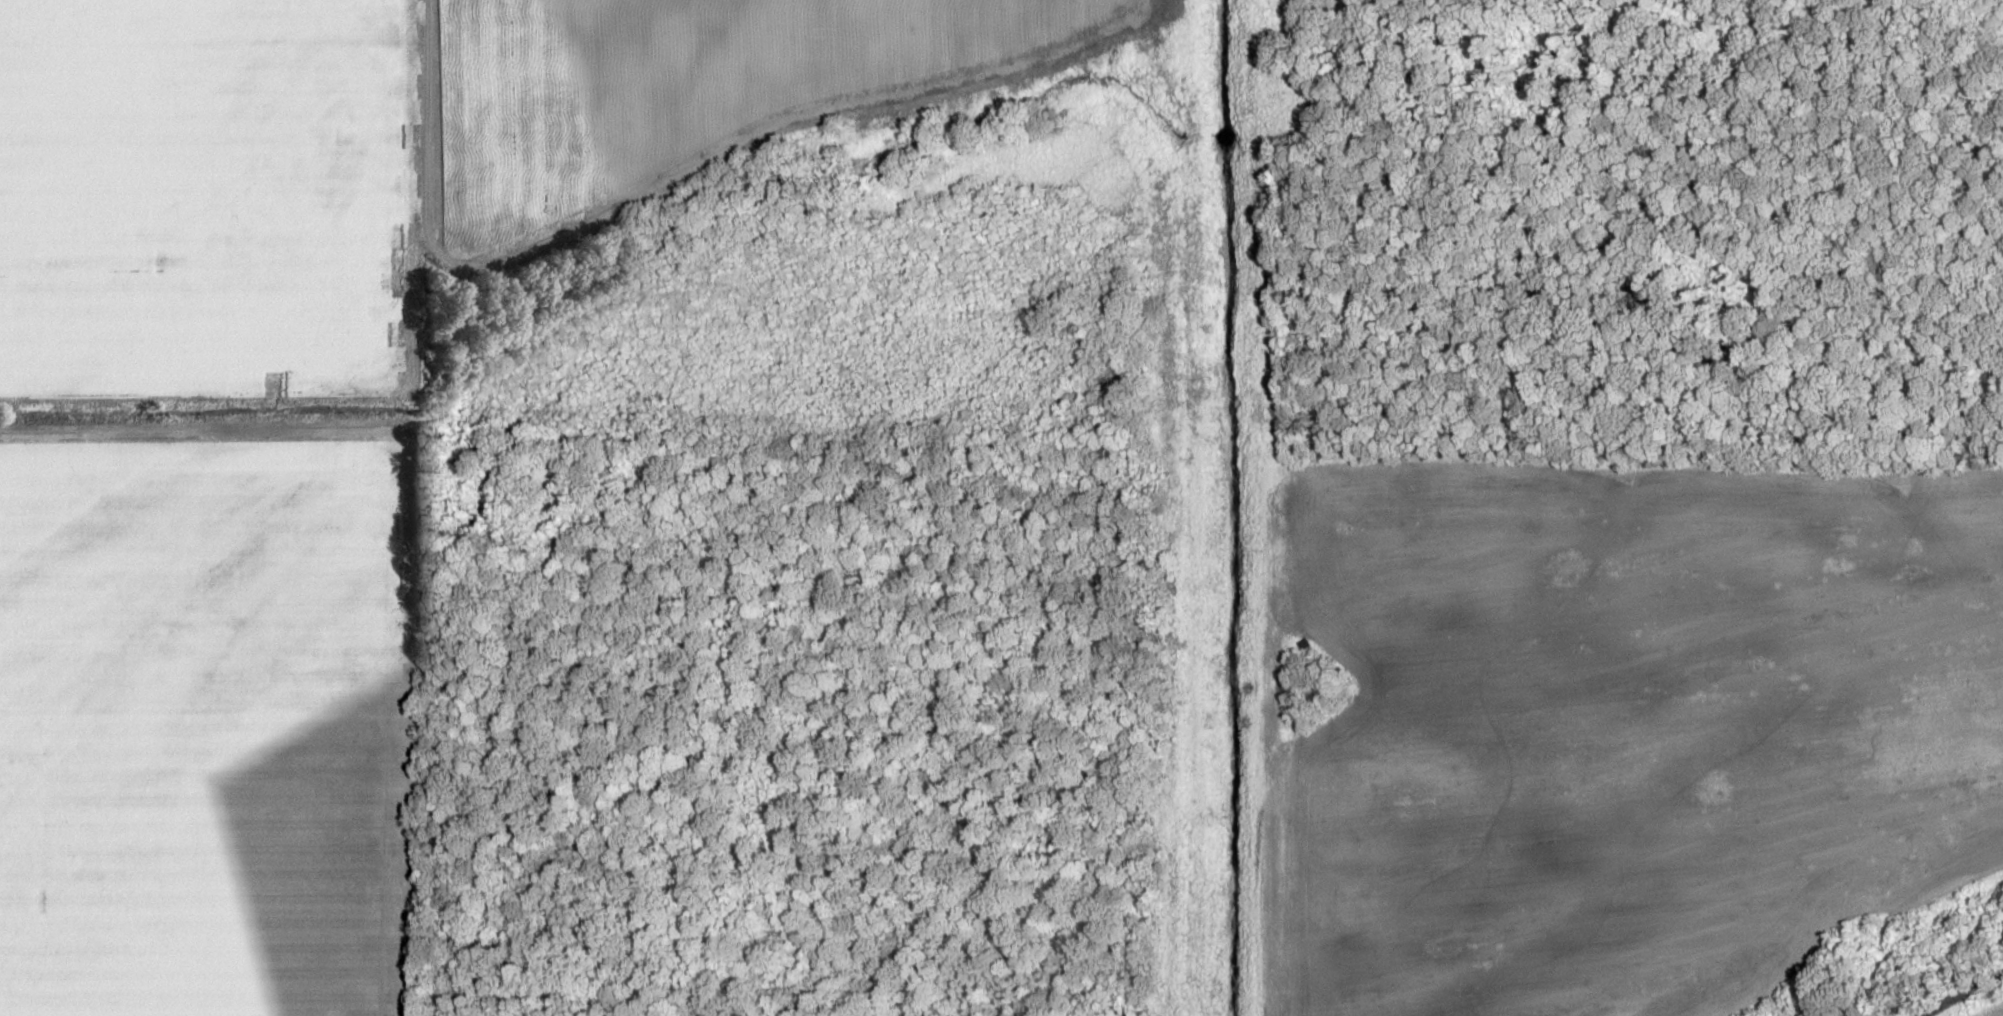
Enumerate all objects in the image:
road: (410, 420)

